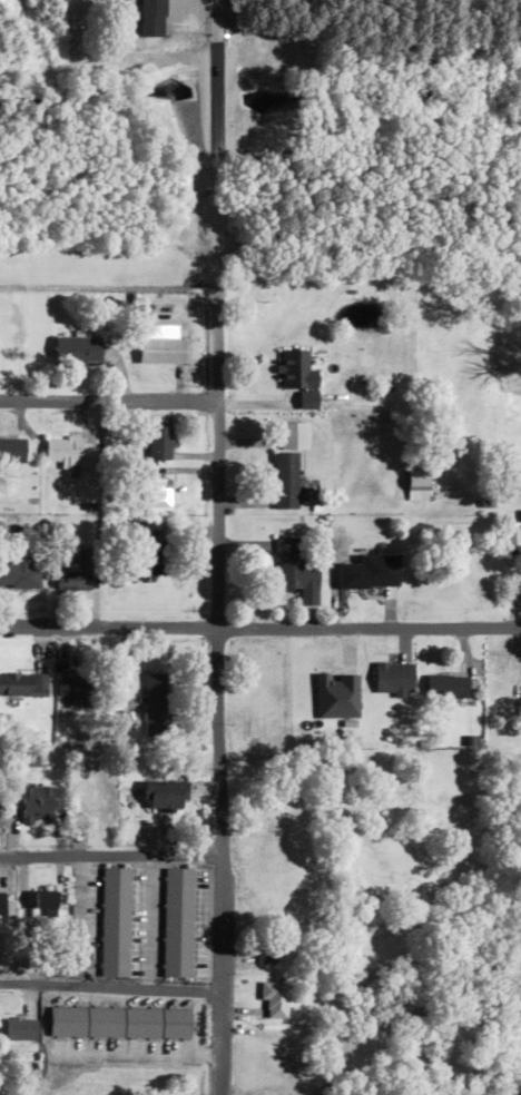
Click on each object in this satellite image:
building: (150, 17)
building: (76, 348)
building: (161, 349)
building: (295, 371)
road: (106, 401)
building: (293, 434)
building: (158, 443)
building: (11, 450)
building: (67, 451)
building: (284, 481)
building: (416, 485)
building: (511, 535)
road: (213, 547)
building: (148, 553)
building: (295, 570)
building: (19, 572)
building: (370, 572)
building: (76, 573)
road: (260, 632)
building: (393, 679)
building: (22, 683)
building: (445, 685)
building: (76, 688)
building: (336, 696)
building: (154, 703)
building: (166, 796)
building: (36, 802)
building: (92, 806)
road: (107, 854)
building: (45, 899)
building: (3, 904)
building: (114, 921)
building: (176, 923)
building: (264, 953)
road: (108, 986)
building: (274, 998)
building: (118, 1022)
building: (20, 1028)

